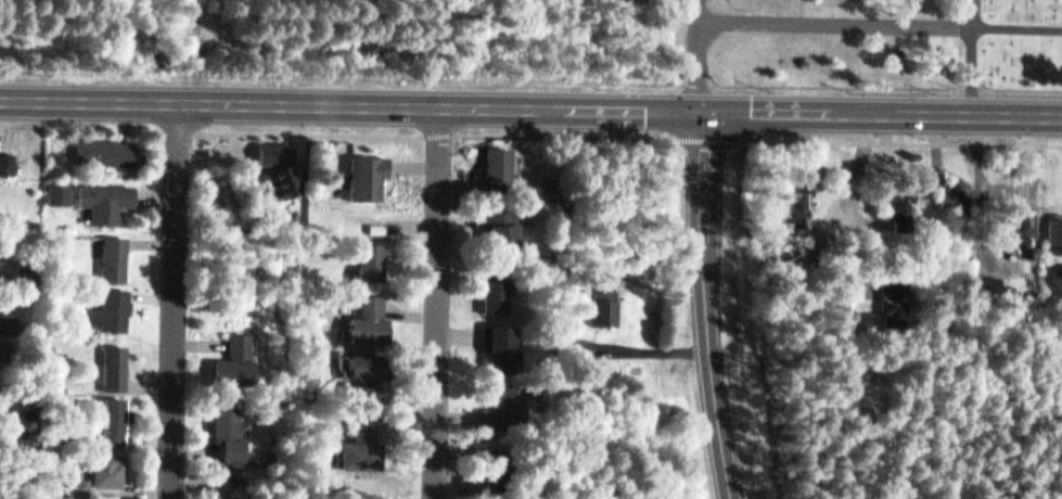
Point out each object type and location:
road: (704, 9)
road: (974, 11)
road: (883, 21)
park: (542, 44)
road: (703, 64)
road: (530, 106)
traffic signals: (711, 108)
road: (305, 126)
road: (442, 127)
road: (568, 128)
road: (903, 135)
building: (104, 143)
building: (496, 155)
building: (281, 159)
building: (9, 163)
road: (709, 169)
building: (367, 170)
building: (948, 184)
building: (61, 187)
building: (106, 195)
building: (904, 197)
building: (801, 200)
building: (958, 200)
building: (499, 219)
building: (1015, 221)
building: (1054, 222)
building: (117, 252)
building: (370, 255)
building: (983, 271)
road: (739, 286)
building: (894, 287)
building: (494, 290)
building: (604, 299)
road: (179, 300)
building: (115, 303)
road: (440, 303)
building: (371, 319)
building: (11, 321)
building: (581, 340)
building: (498, 342)
building: (9, 346)
building: (239, 354)
building: (117, 360)
road: (715, 366)
building: (367, 371)
building: (501, 402)
building: (115, 415)
building: (228, 428)
building: (362, 440)
road: (1009, 447)
road: (870, 460)
building: (494, 463)
building: (99, 470)
building: (232, 484)
building: (104, 496)

